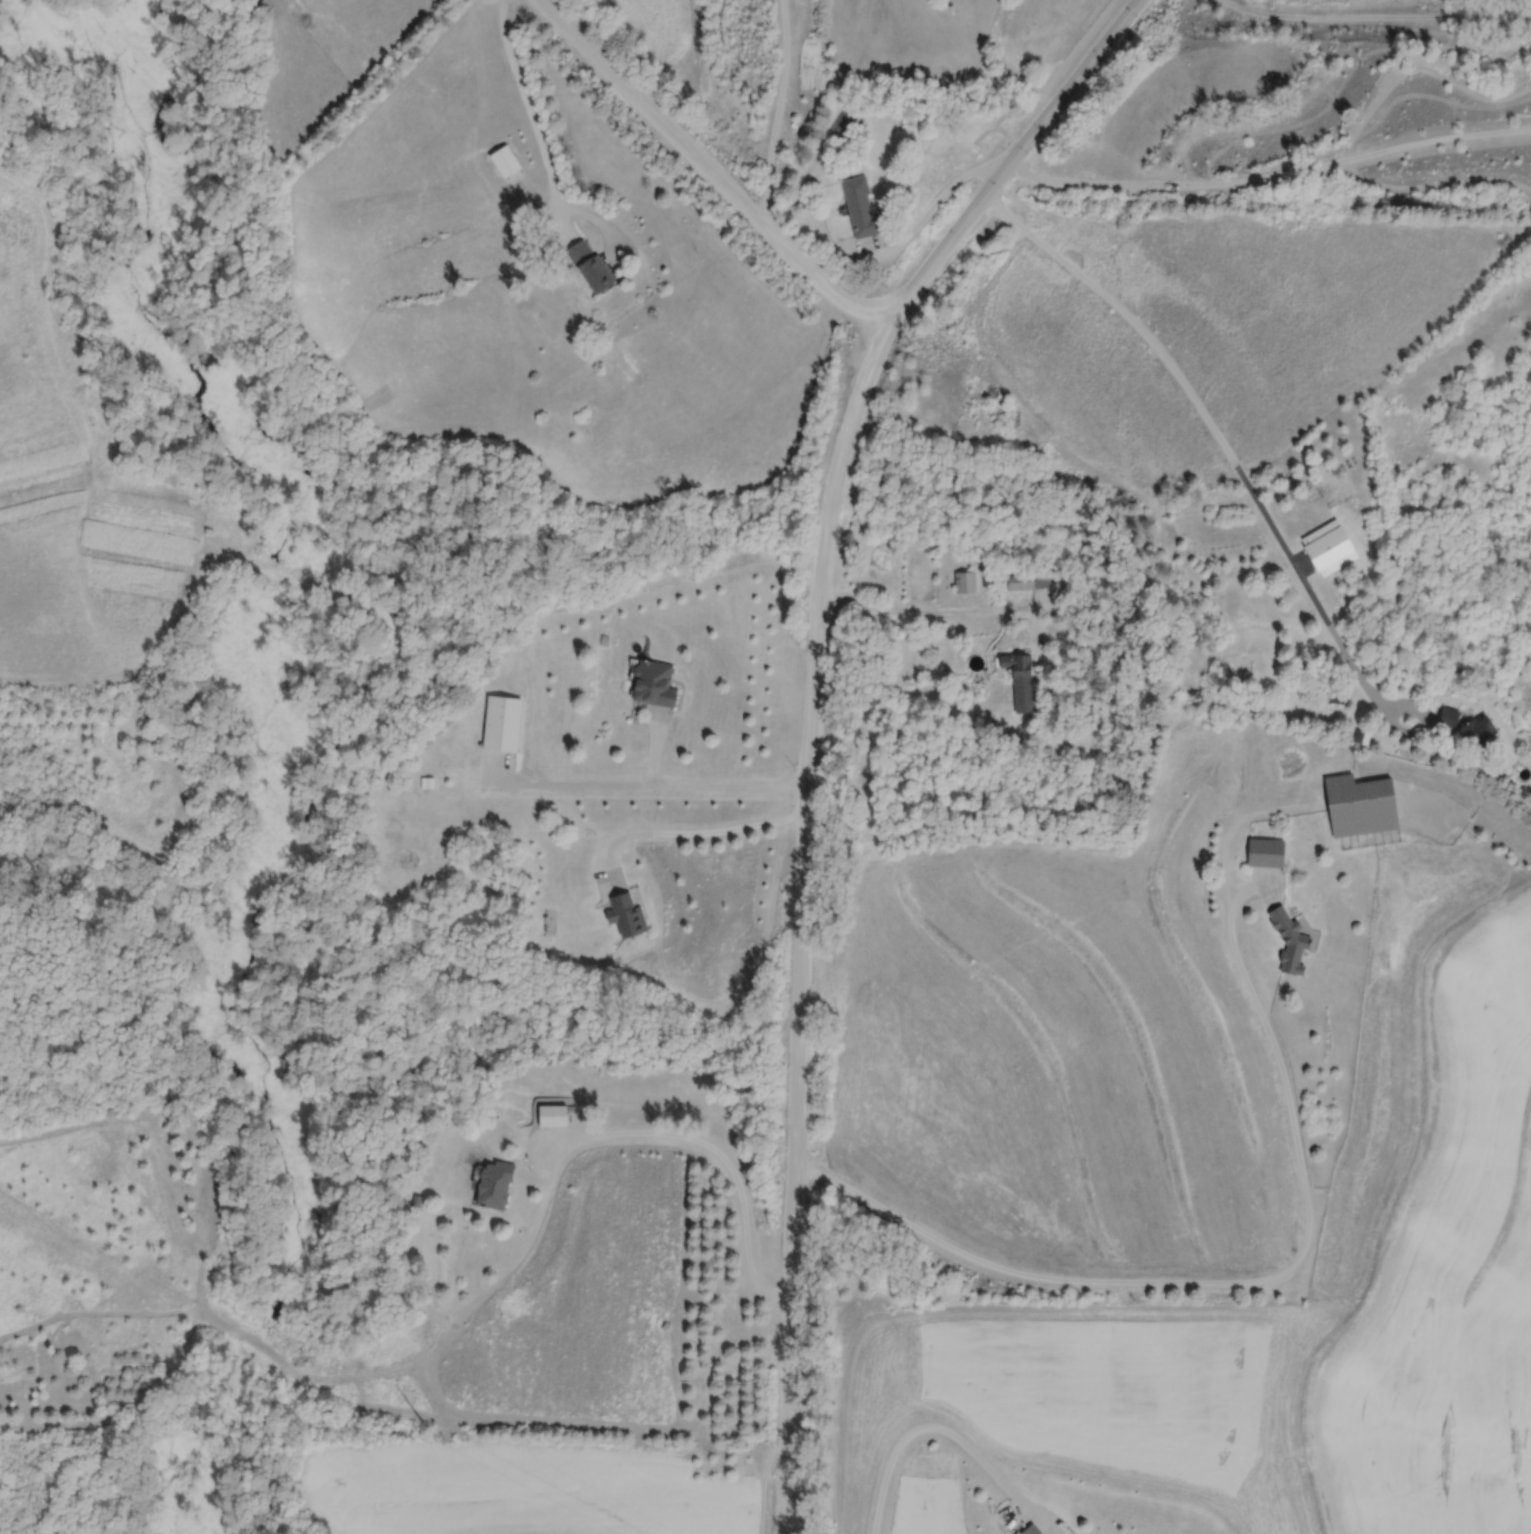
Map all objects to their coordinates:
road: (781, 112)
road: (530, 117)
building: (848, 119)
building: (506, 162)
road: (709, 172)
road: (1269, 180)
building: (860, 208)
road: (934, 210)
building: (591, 266)
road: (1206, 428)
building: (1329, 549)
building: (966, 583)
building: (1021, 583)
road: (947, 617)
building: (1021, 681)
building: (653, 684)
building: (1450, 716)
road: (810, 718)
road: (1384, 721)
building: (502, 725)
building: (1478, 732)
road: (650, 789)
building: (1360, 807)
road: (695, 839)
building: (1266, 853)
building: (626, 916)
building: (1288, 940)
building: (553, 1117)
road: (707, 1146)
building: (494, 1185)
road: (1297, 1258)
power tower: (427, 1428)
road: (940, 1434)
building: (1032, 1530)

